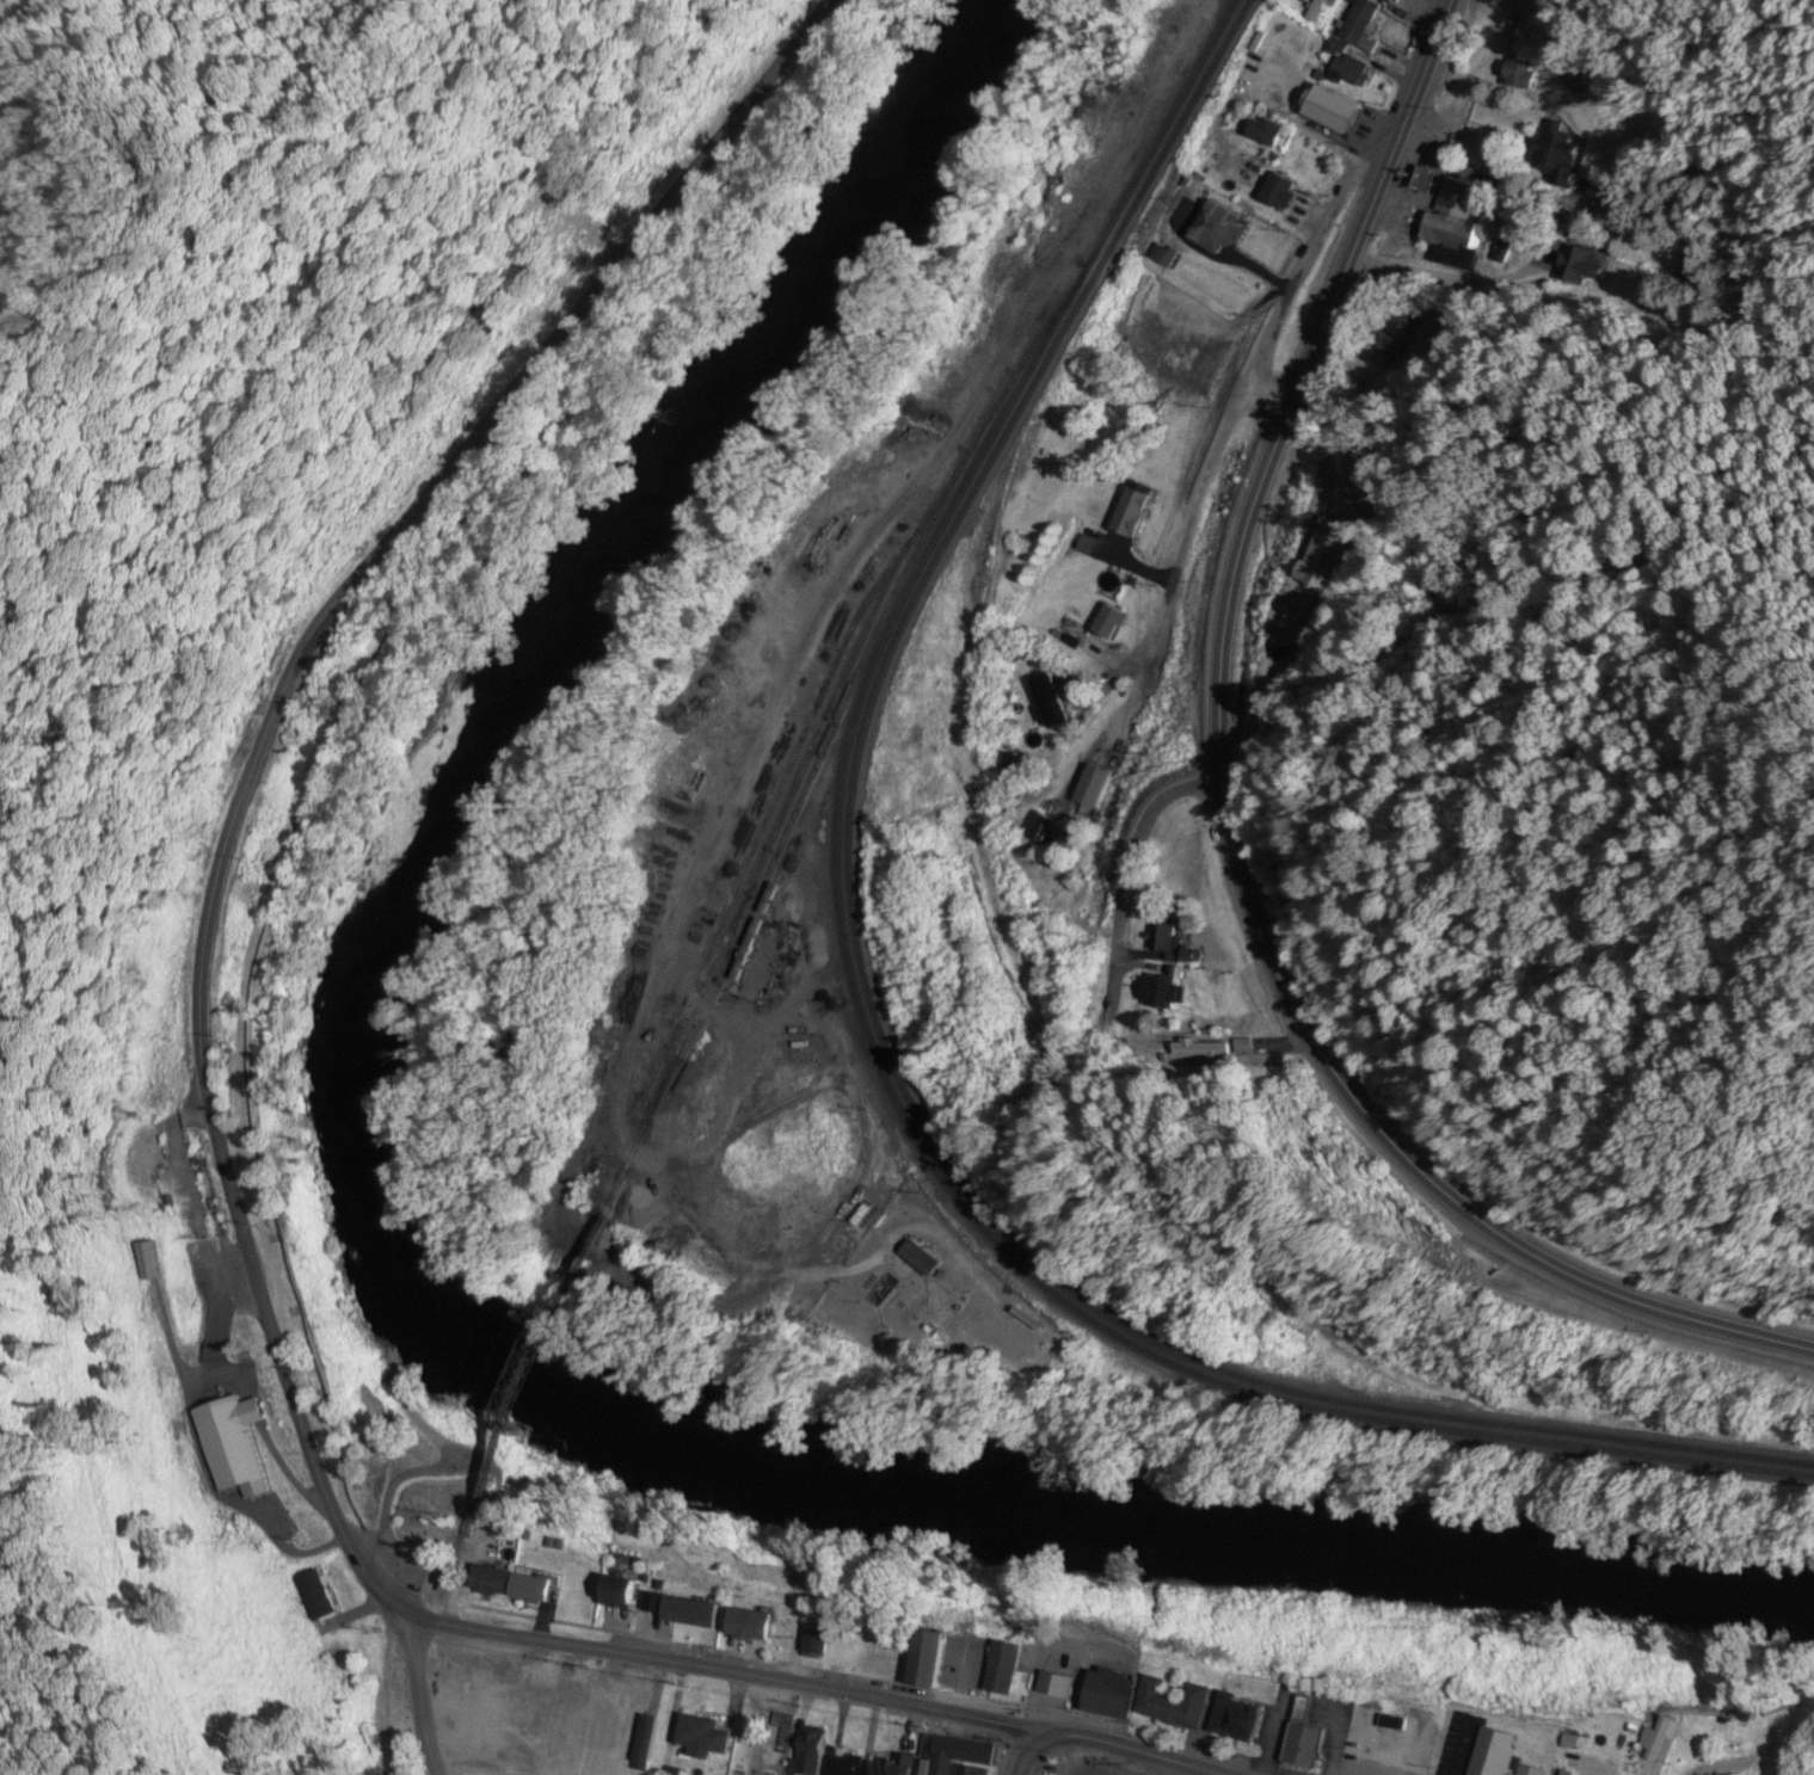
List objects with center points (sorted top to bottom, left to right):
building: (1385, 1)
building: (1315, 11)
building: (1359, 27)
building: (1347, 73)
building: (1518, 74)
building: (1333, 112)
building: (1263, 134)
building: (1554, 159)
building: (1279, 193)
building: (1455, 218)
building: (1217, 228)
road: (1311, 254)
building: (1148, 319)
building: (1394, 337)
building: (1181, 340)
road: (1182, 511)
building: (1129, 513)
building: (1323, 556)
building: (1108, 622)
building: (1292, 622)
building: (1047, 701)
road: (339, 728)
road: (1230, 811)
building: (1041, 831)
road: (1125, 896)
building: (1162, 938)
building: (1162, 993)
railway: (872, 1017)
road: (202, 1053)
building: (918, 1259)
building: (147, 1262)
river: (391, 1312)
railway: (539, 1358)
building: (230, 1447)
road: (1687, 1462)
building: (488, 1582)
building: (619, 1582)
building: (530, 1589)
building: (314, 1597)
building: (748, 1625)
building: (813, 1640)
road: (191, 1656)
building: (924, 1659)
building: (1000, 1668)
building: (1053, 1684)
building: (1108, 1694)
road: (411, 1695)
building: (1172, 1705)
building: (1234, 1719)
building: (1391, 1724)
building: (701, 1736)
building: (1654, 1738)
building: (644, 1743)
road: (1129, 1746)
building: (1302, 1748)
building: (806, 1754)
building: (1496, 1756)
road: (1021, 1757)
building: (937, 1759)
building: (841, 1764)
road: (1216, 1774)

